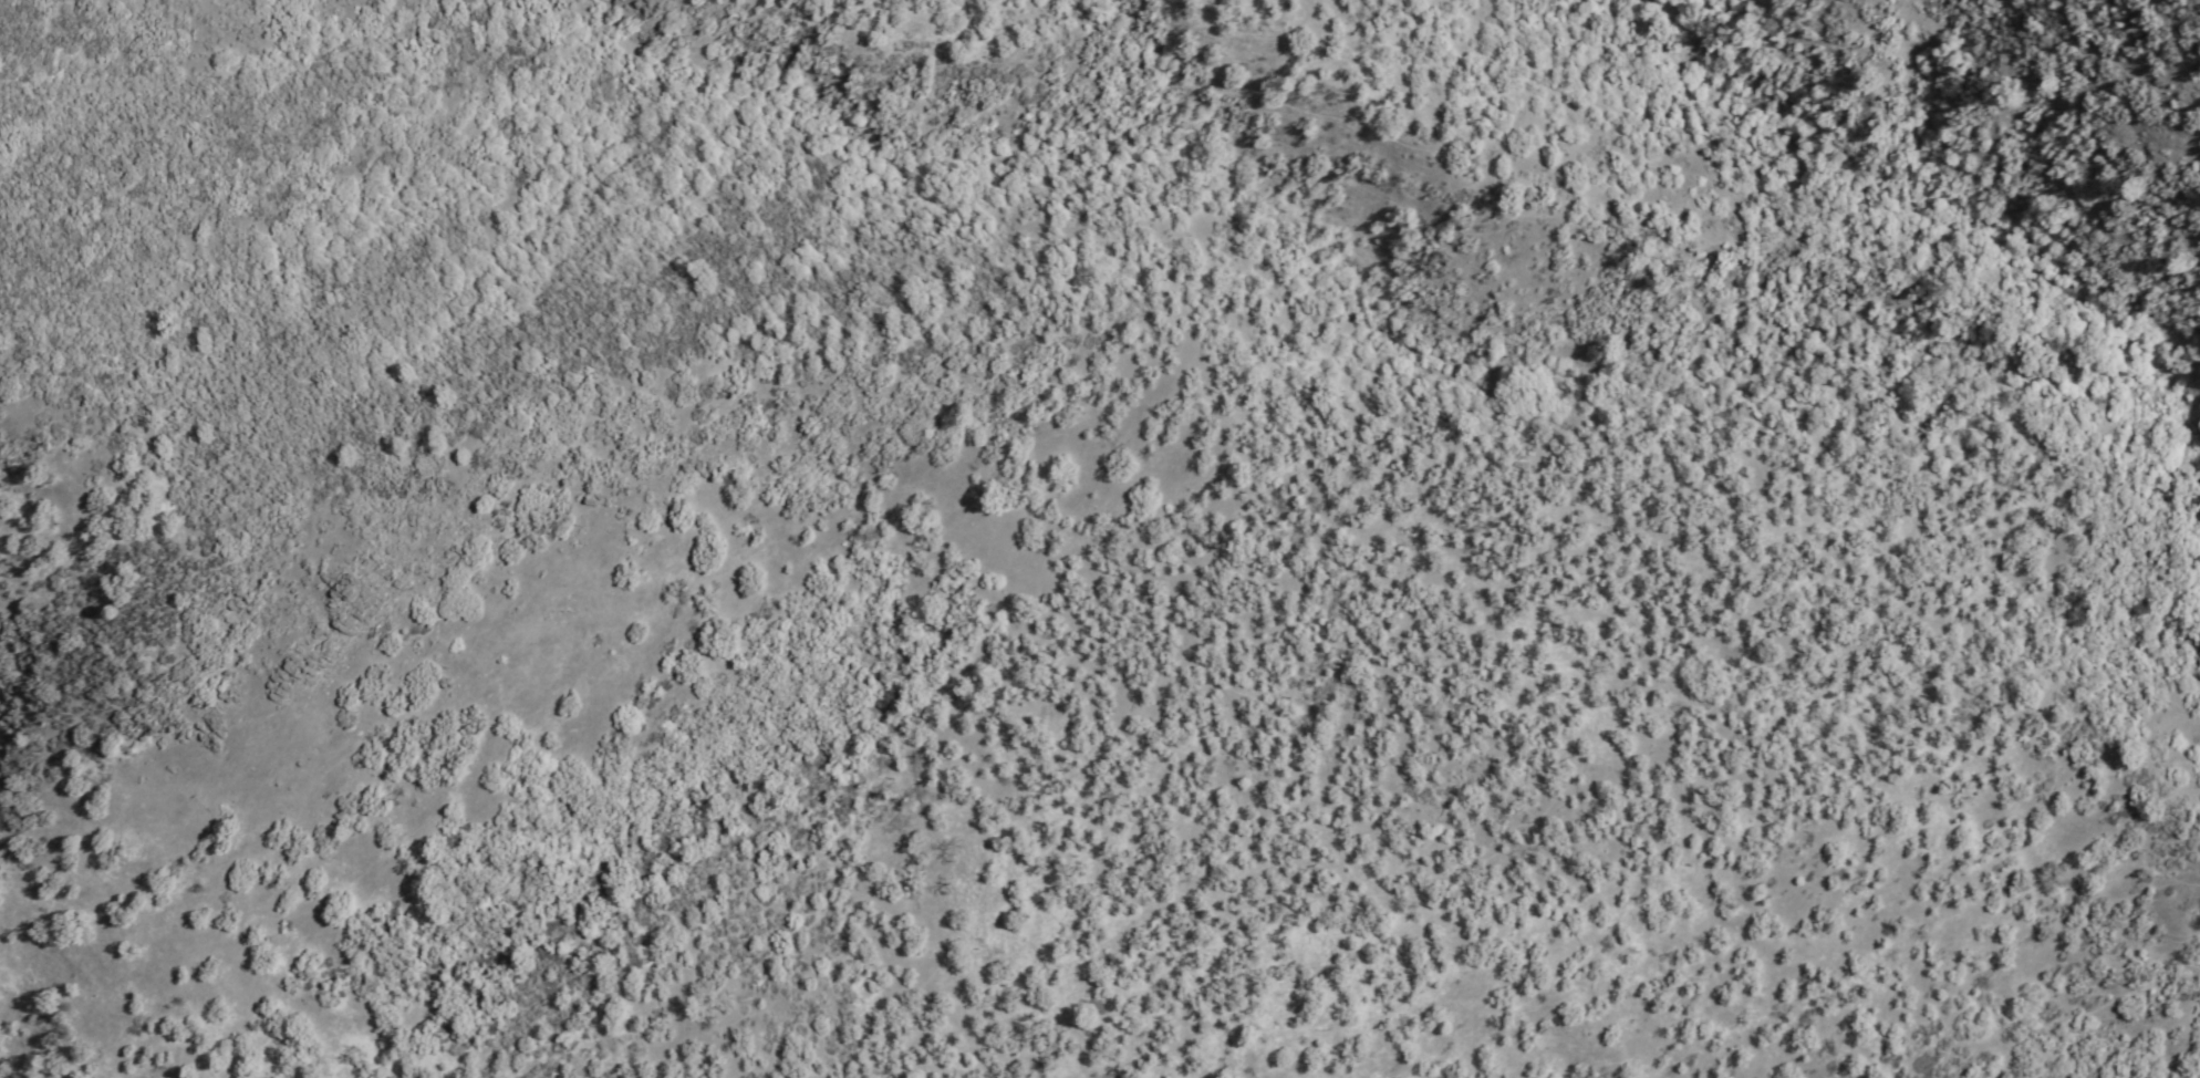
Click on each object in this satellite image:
road: (1244, 28)
road: (849, 39)
road: (1239, 392)

